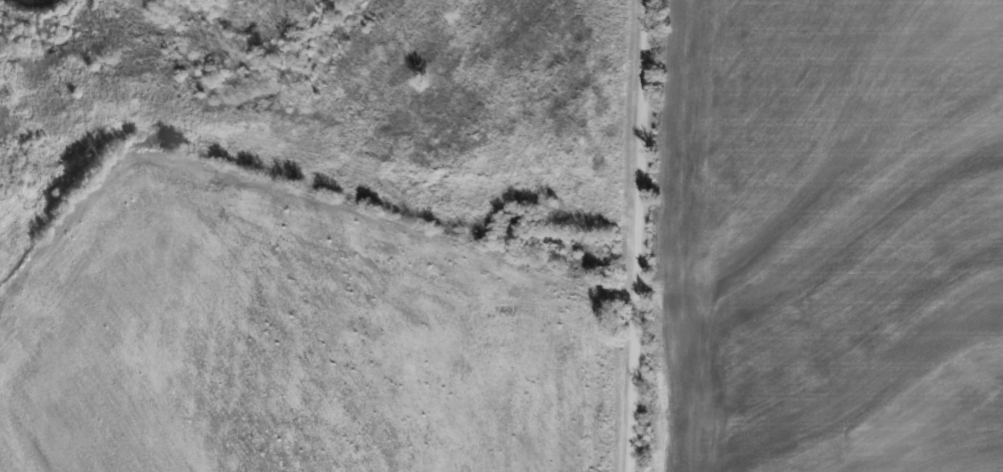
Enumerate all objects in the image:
building: (515, 218)
road: (637, 236)

